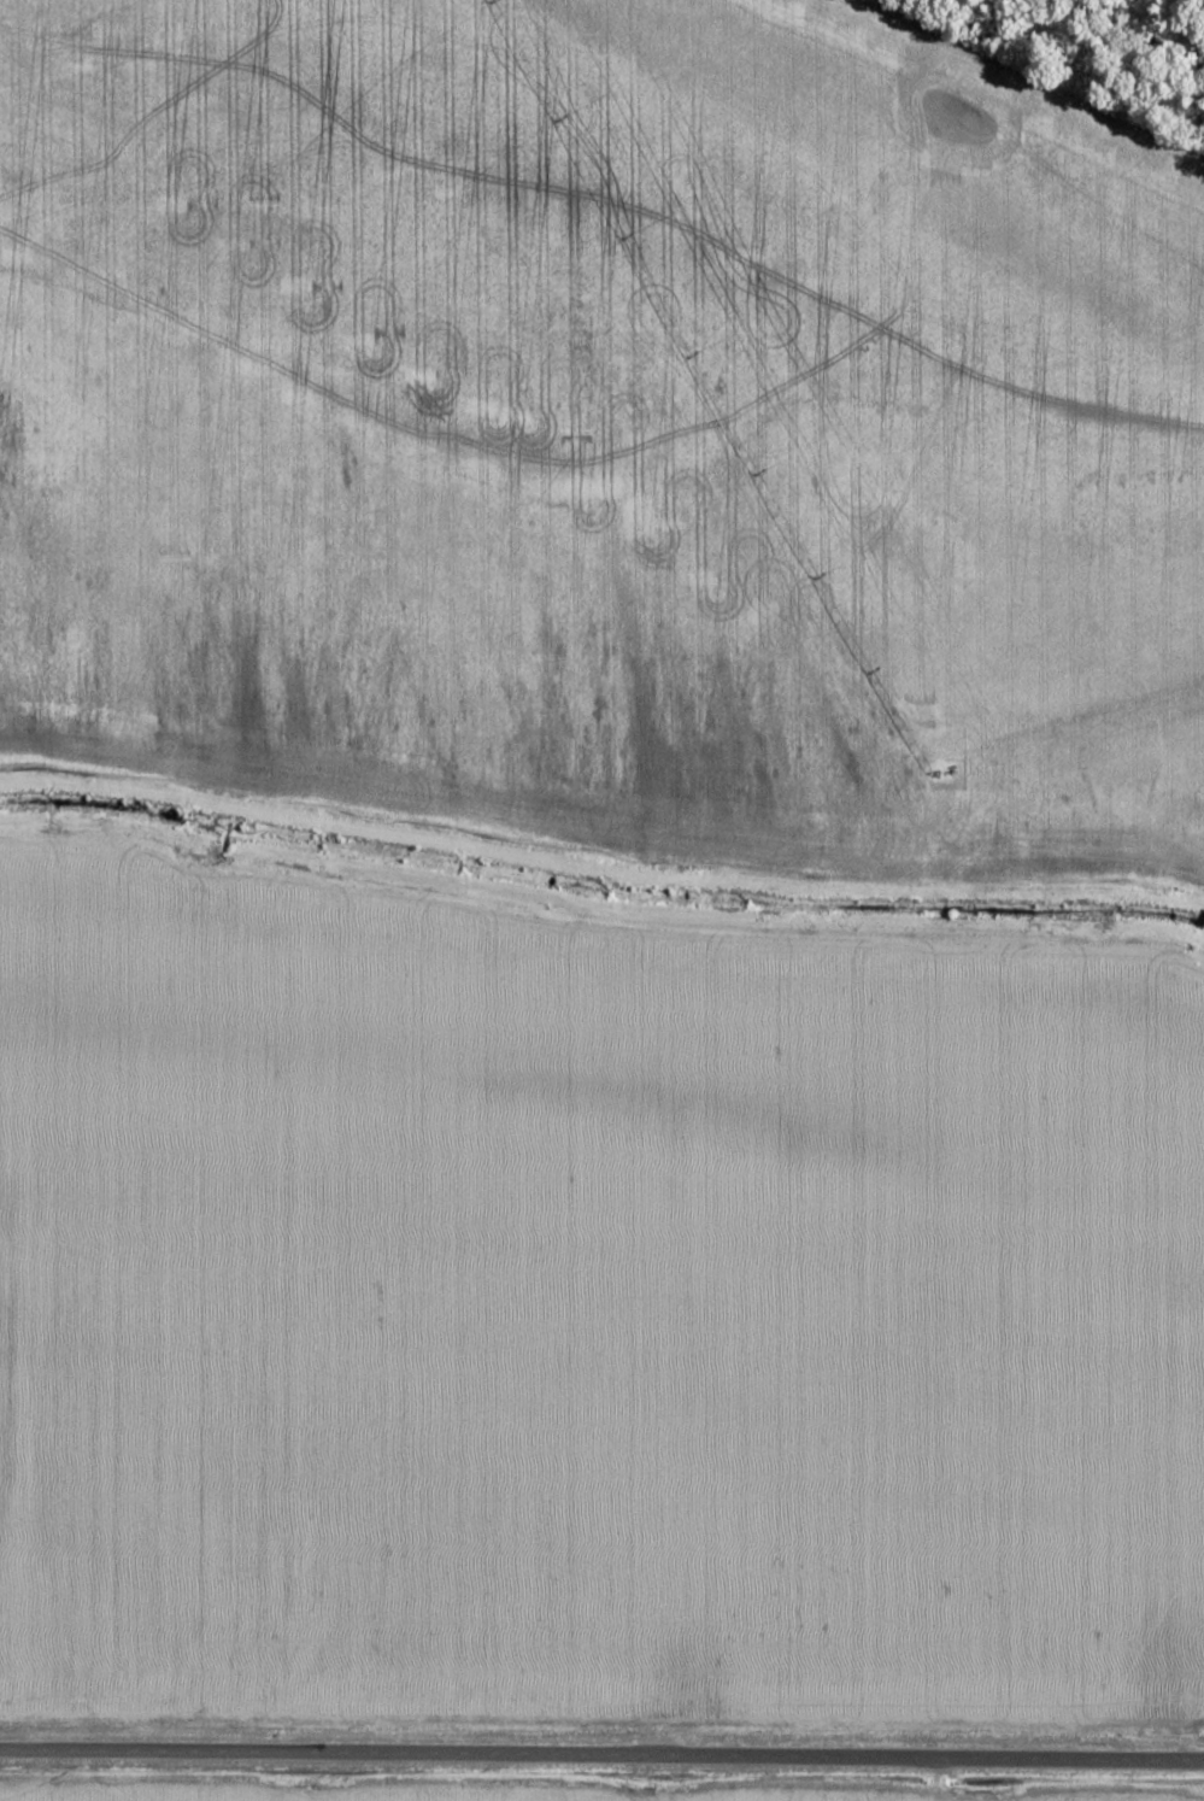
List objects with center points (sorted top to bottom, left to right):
road: (601, 1753)

